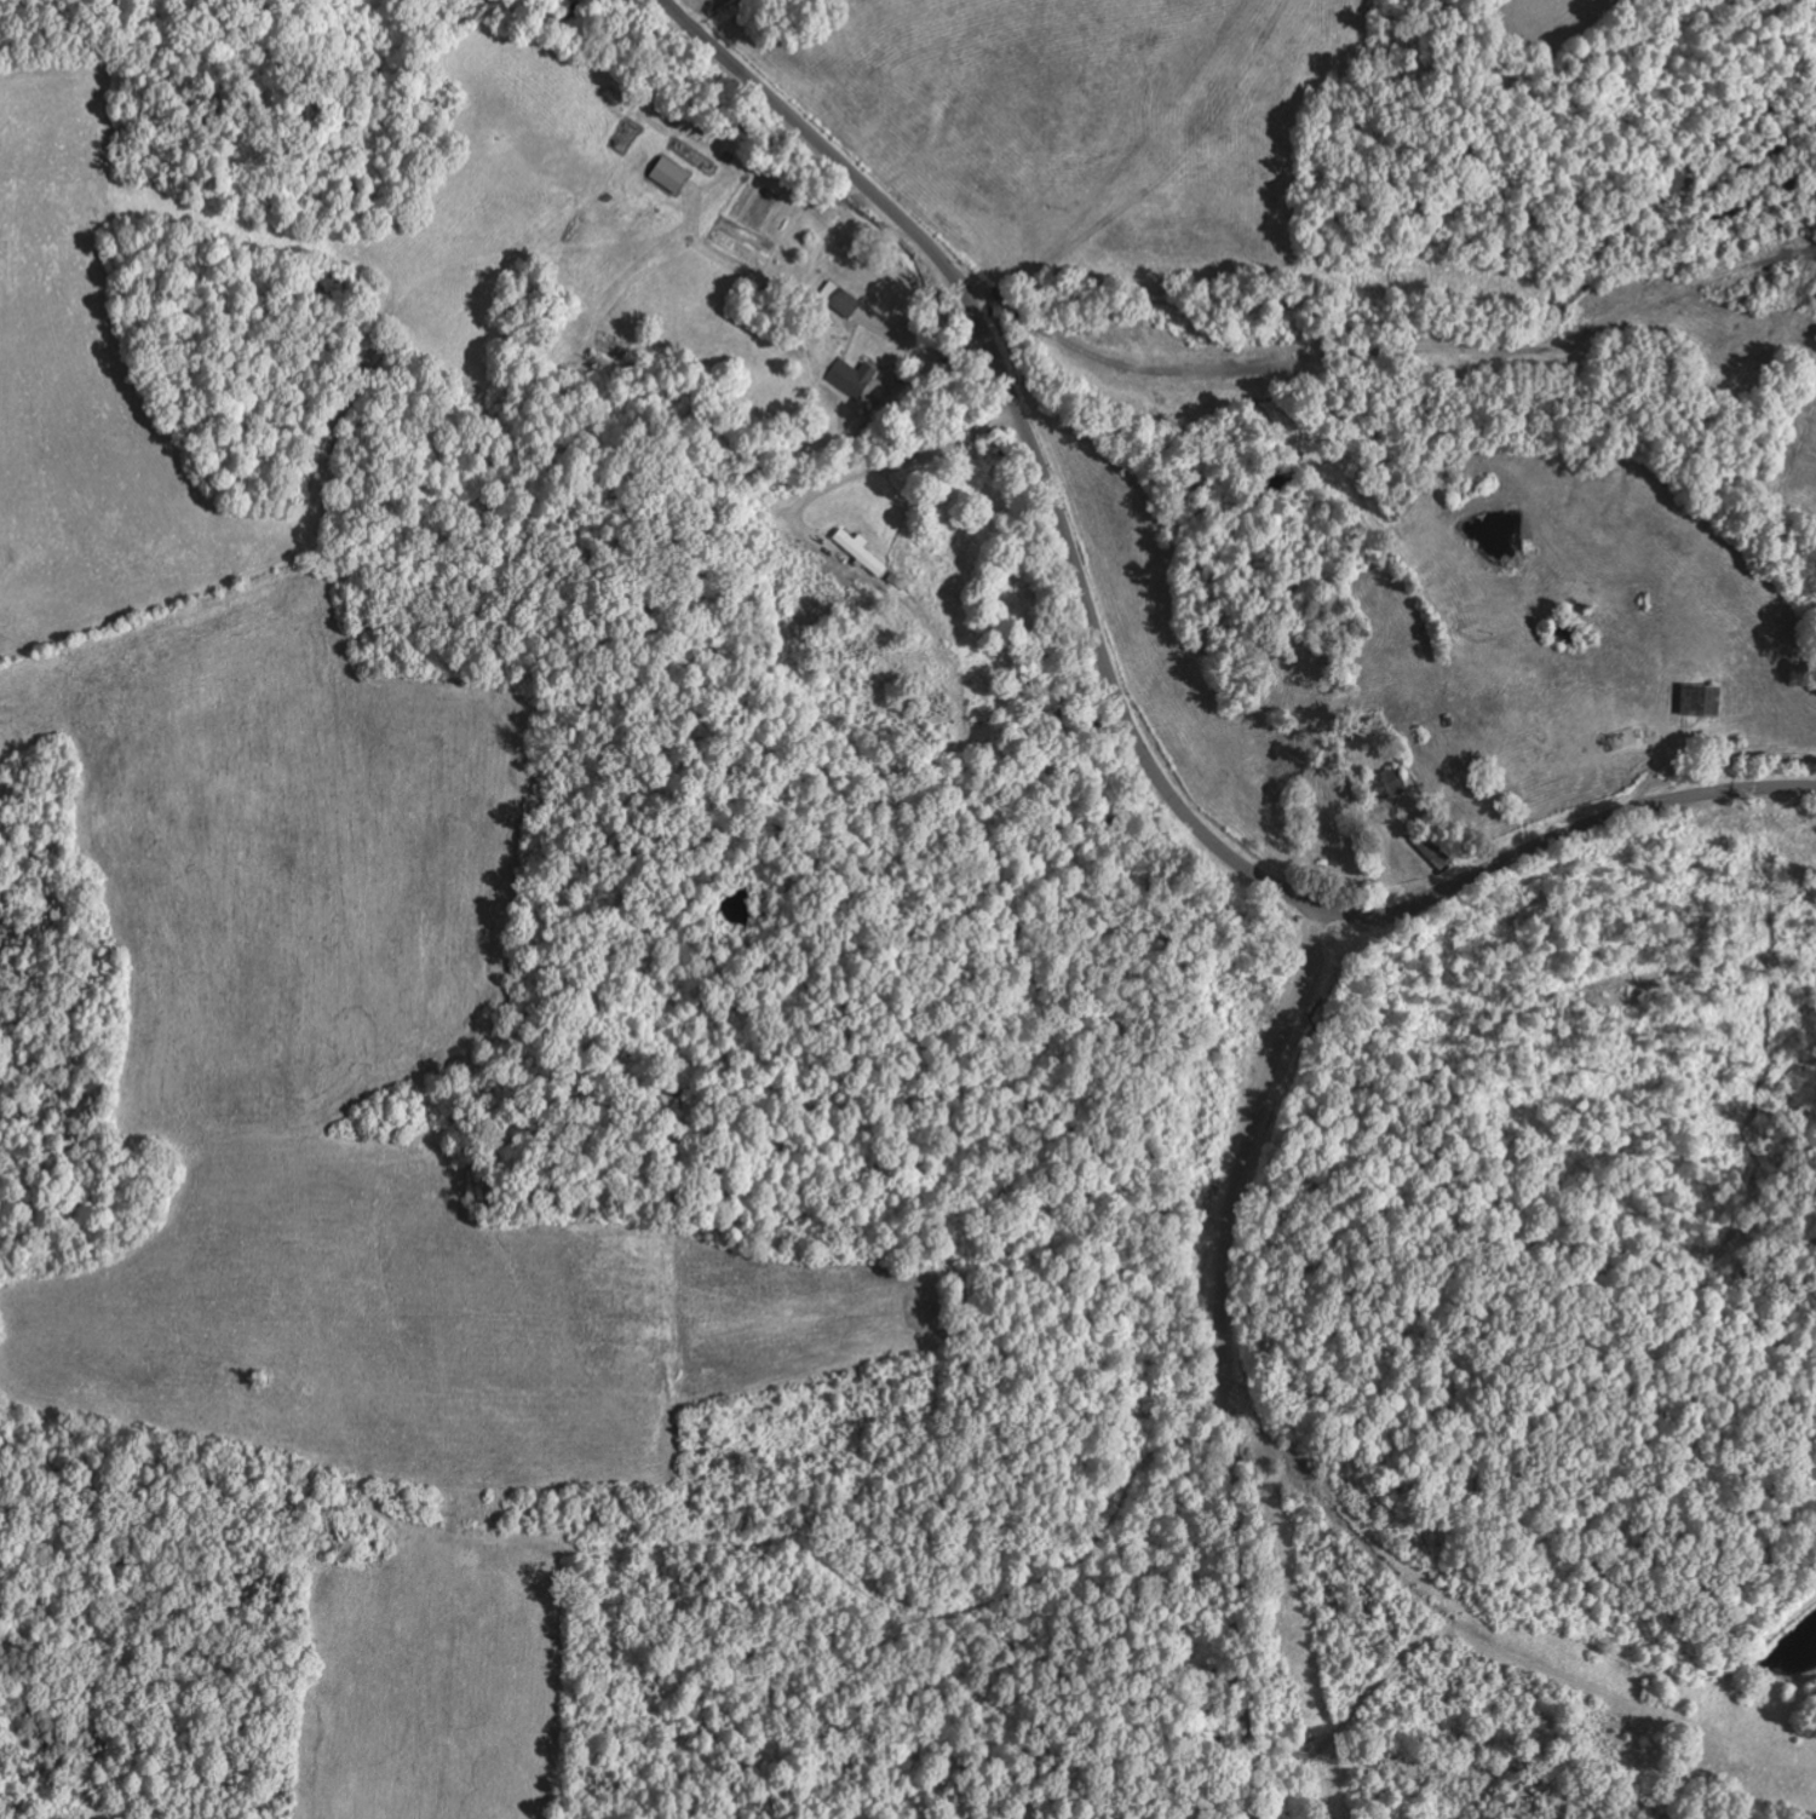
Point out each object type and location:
building: (671, 175)
building: (840, 299)
building: (852, 378)
building: (862, 552)
road: (1113, 683)
building: (1703, 700)
building: (1392, 782)
road: (1223, 1354)

